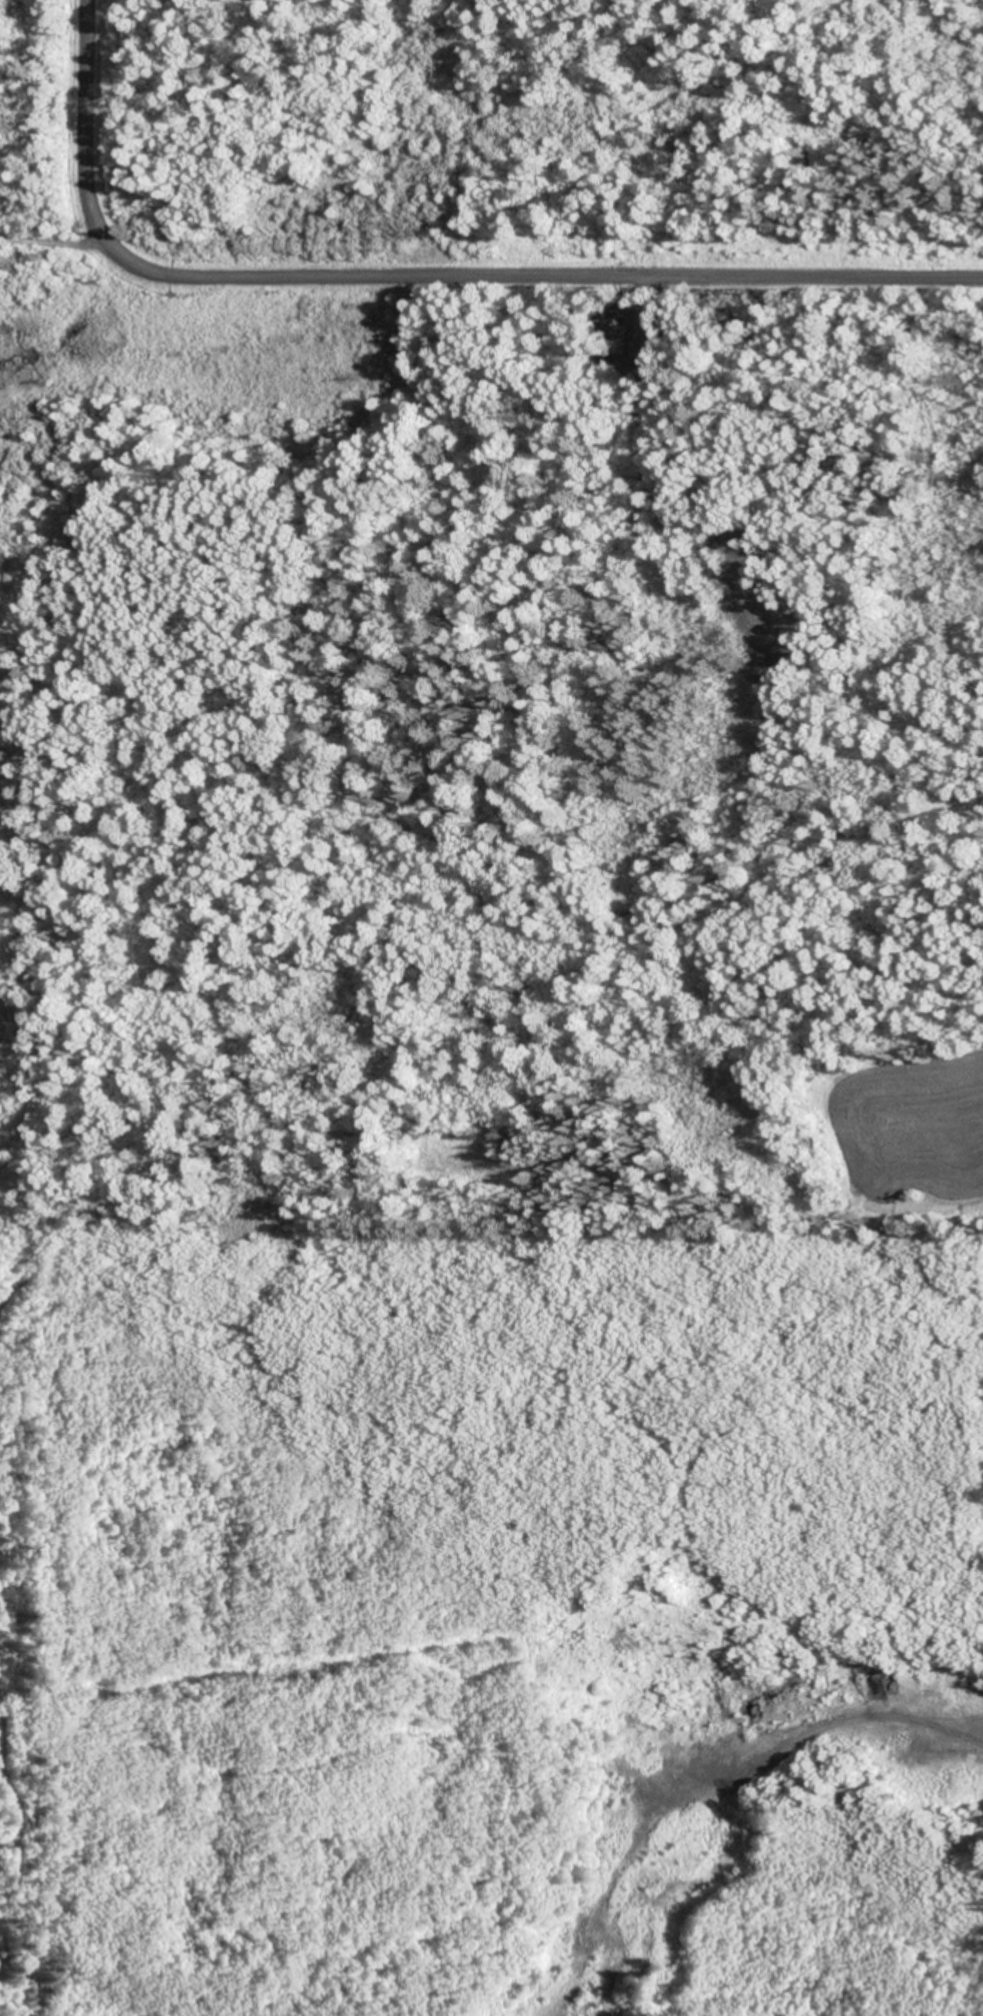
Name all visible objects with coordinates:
road: (58, 227)
road: (430, 280)
road: (769, 1811)

